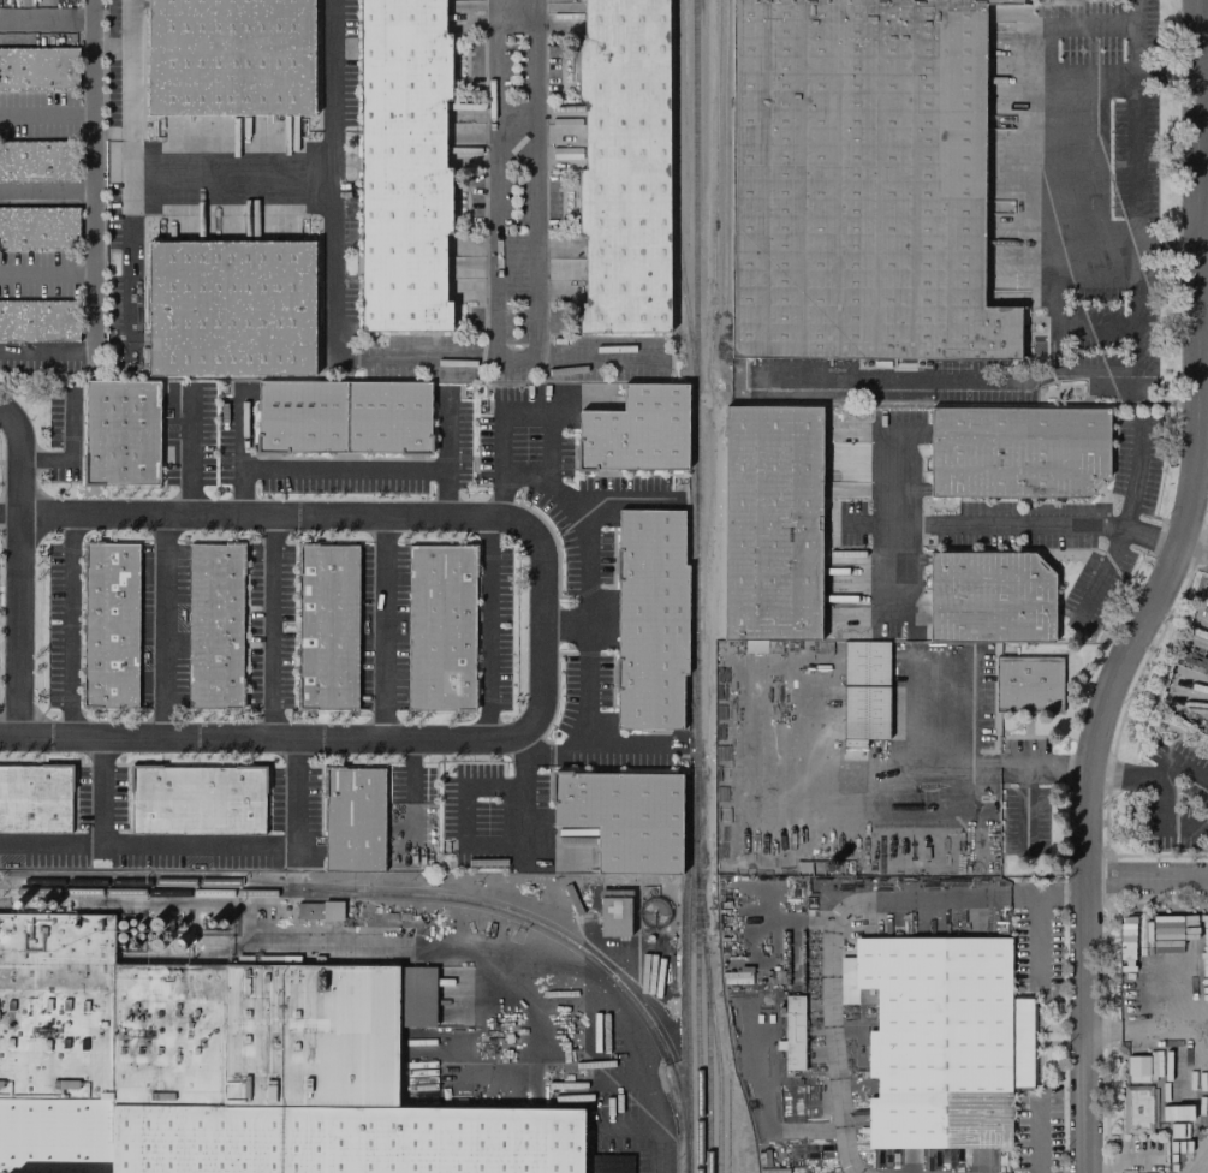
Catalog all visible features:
road: (47, 18)
building: (233, 56)
building: (38, 67)
road: (1165, 70)
road: (47, 112)
road: (1133, 119)
road: (1047, 135)
road: (496, 156)
building: (38, 161)
building: (403, 165)
building: (624, 167)
road: (144, 177)
building: (859, 180)
road: (47, 191)
railway: (674, 197)
road: (94, 221)
building: (38, 227)
road: (132, 266)
road: (47, 272)
building: (234, 309)
building: (38, 320)
road: (434, 355)
road: (597, 355)
road: (1117, 375)
road: (1046, 379)
building: (793, 395)
building: (914, 395)
railway: (694, 409)
building: (300, 423)
building: (388, 423)
building: (125, 433)
building: (638, 440)
road: (69, 447)
building: (1020, 452)
road: (240, 453)
road: (447, 455)
road: (344, 470)
road: (621, 498)
road: (11, 506)
road: (276, 517)
building: (775, 523)
road: (1127, 523)
road: (1012, 525)
road: (895, 526)
road: (1195, 541)
road: (20, 571)
road: (1158, 589)
building: (993, 599)
road: (583, 602)
road: (563, 623)
road: (67, 626)
building: (113, 626)
building: (218, 626)
building: (329, 626)
building: (653, 626)
road: (160, 627)
building: (444, 627)
road: (272, 629)
road: (385, 629)
road: (484, 630)
road: (542, 631)
building: (754, 645)
building: (1026, 684)
building: (864, 691)
road: (262, 739)
road: (629, 746)
road: (1045, 769)
road: (889, 770)
road: (1150, 774)
road: (102, 793)
road: (412, 796)
building: (36, 799)
building: (200, 800)
building: (357, 820)
building: (625, 824)
road: (204, 850)
road: (1147, 880)
railway: (173, 881)
road: (1047, 893)
railway: (415, 894)
road: (987, 895)
building: (319, 910)
building: (613, 912)
road: (1037, 936)
road: (828, 977)
railway: (685, 995)
railway: (696, 995)
road: (1147, 1023)
building: (792, 1032)
railway: (714, 1035)
building: (940, 1038)
building: (221, 1070)
railway: (707, 1076)
building: (1136, 1108)
road: (655, 1137)
road: (1037, 1138)
road: (1202, 1162)

